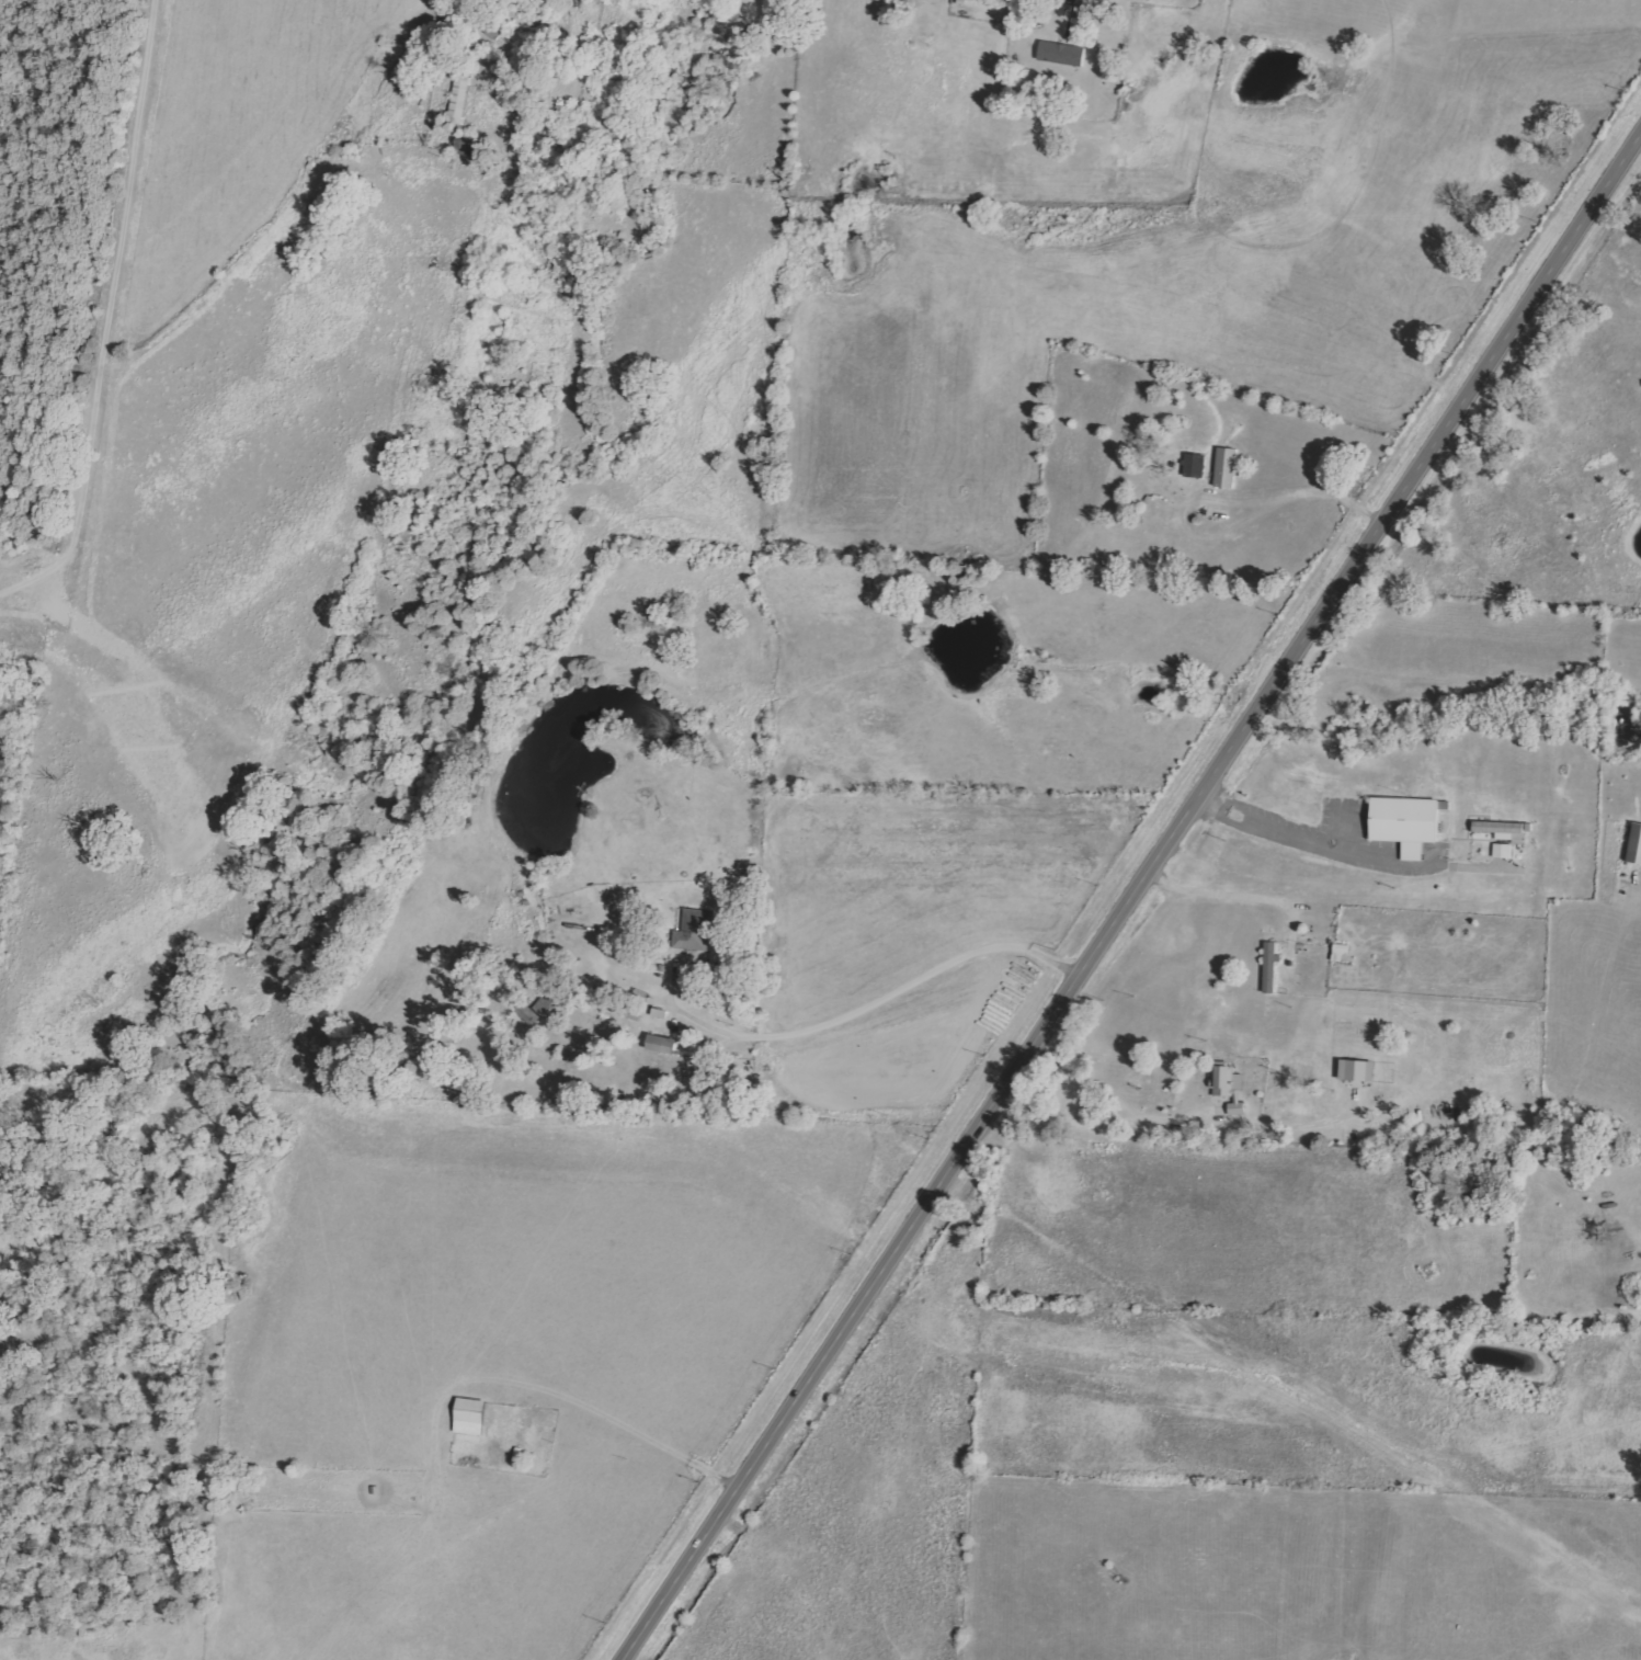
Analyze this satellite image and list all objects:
road: (1074, 7)
building: (1060, 54)
building: (1193, 465)
building: (1224, 467)
road: (1273, 518)
building: (1405, 822)
building: (1501, 829)
building: (1634, 844)
building: (1501, 850)
road: (1354, 855)
road: (1220, 898)
road: (1141, 905)
building: (693, 929)
building: (1337, 953)
building: (1268, 966)
road: (878, 1010)
building: (660, 1044)
building: (1356, 1070)
building: (1226, 1083)
road: (1112, 1118)
building: (468, 1417)

